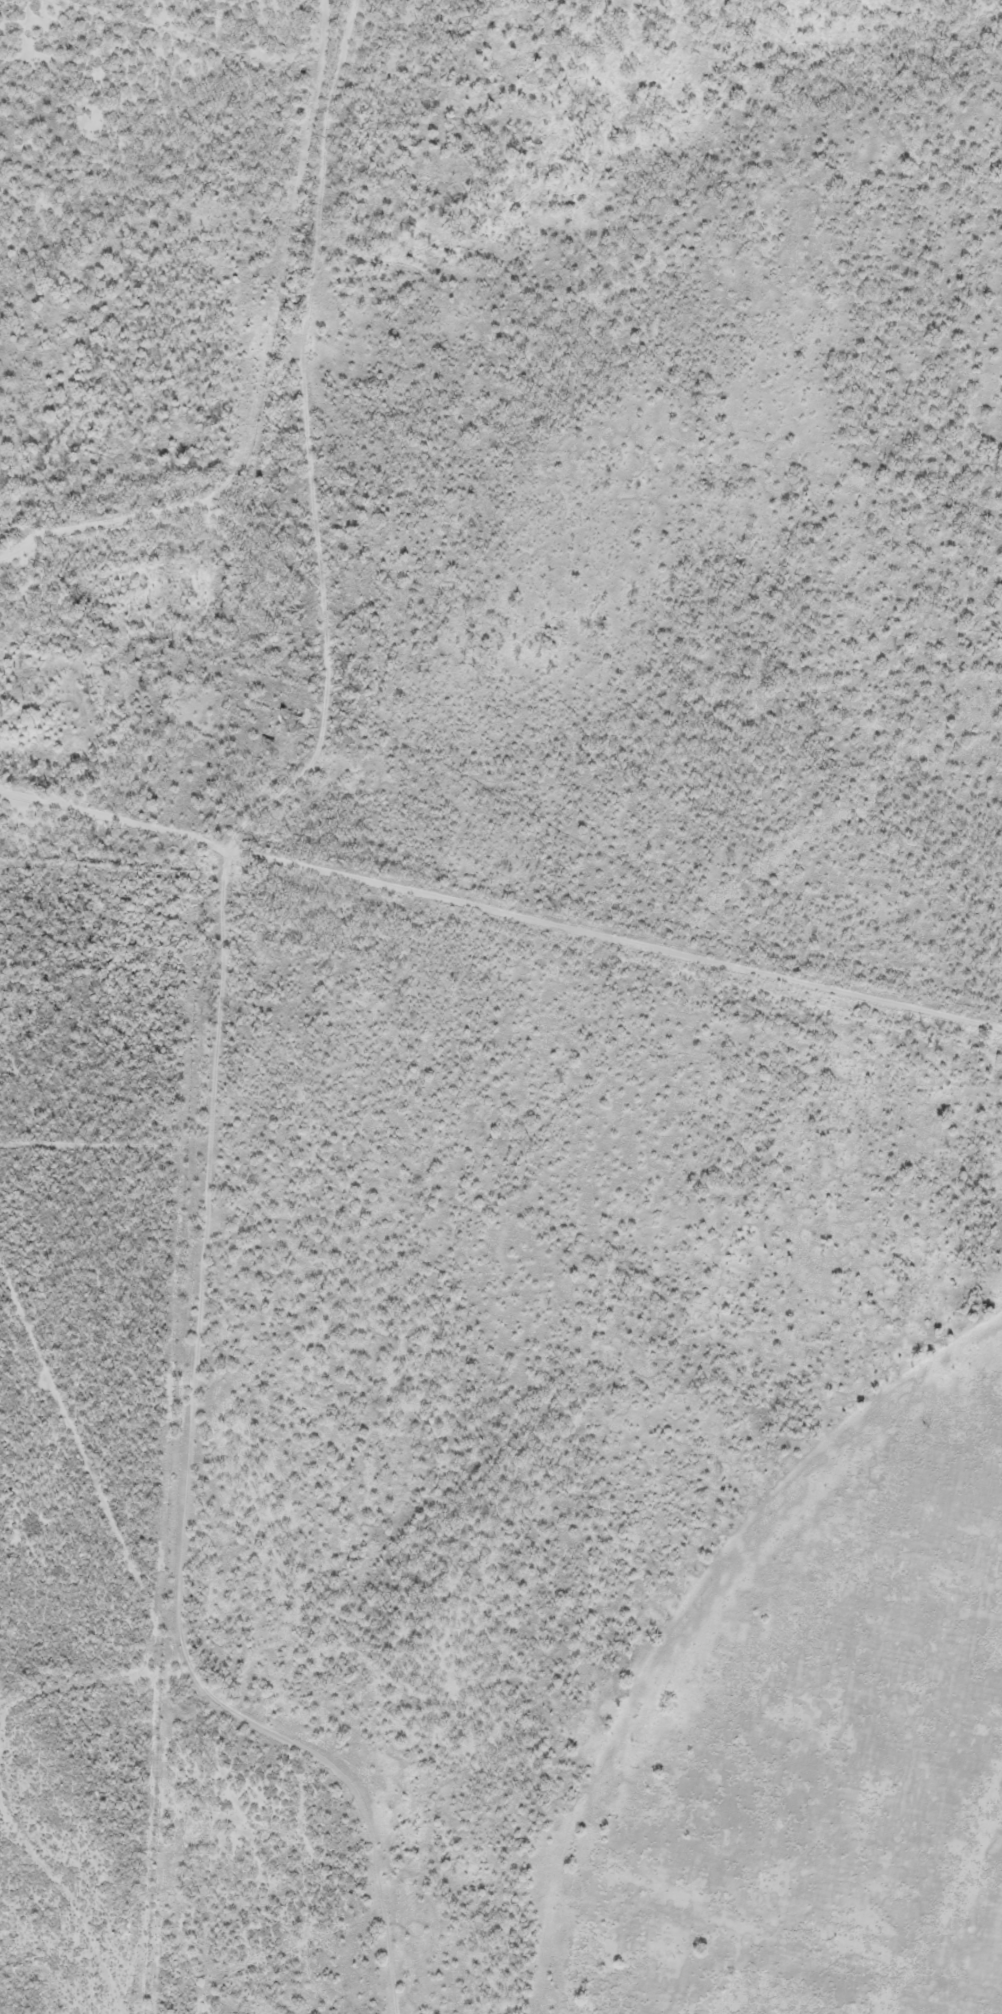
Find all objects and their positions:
road: (500, 908)

